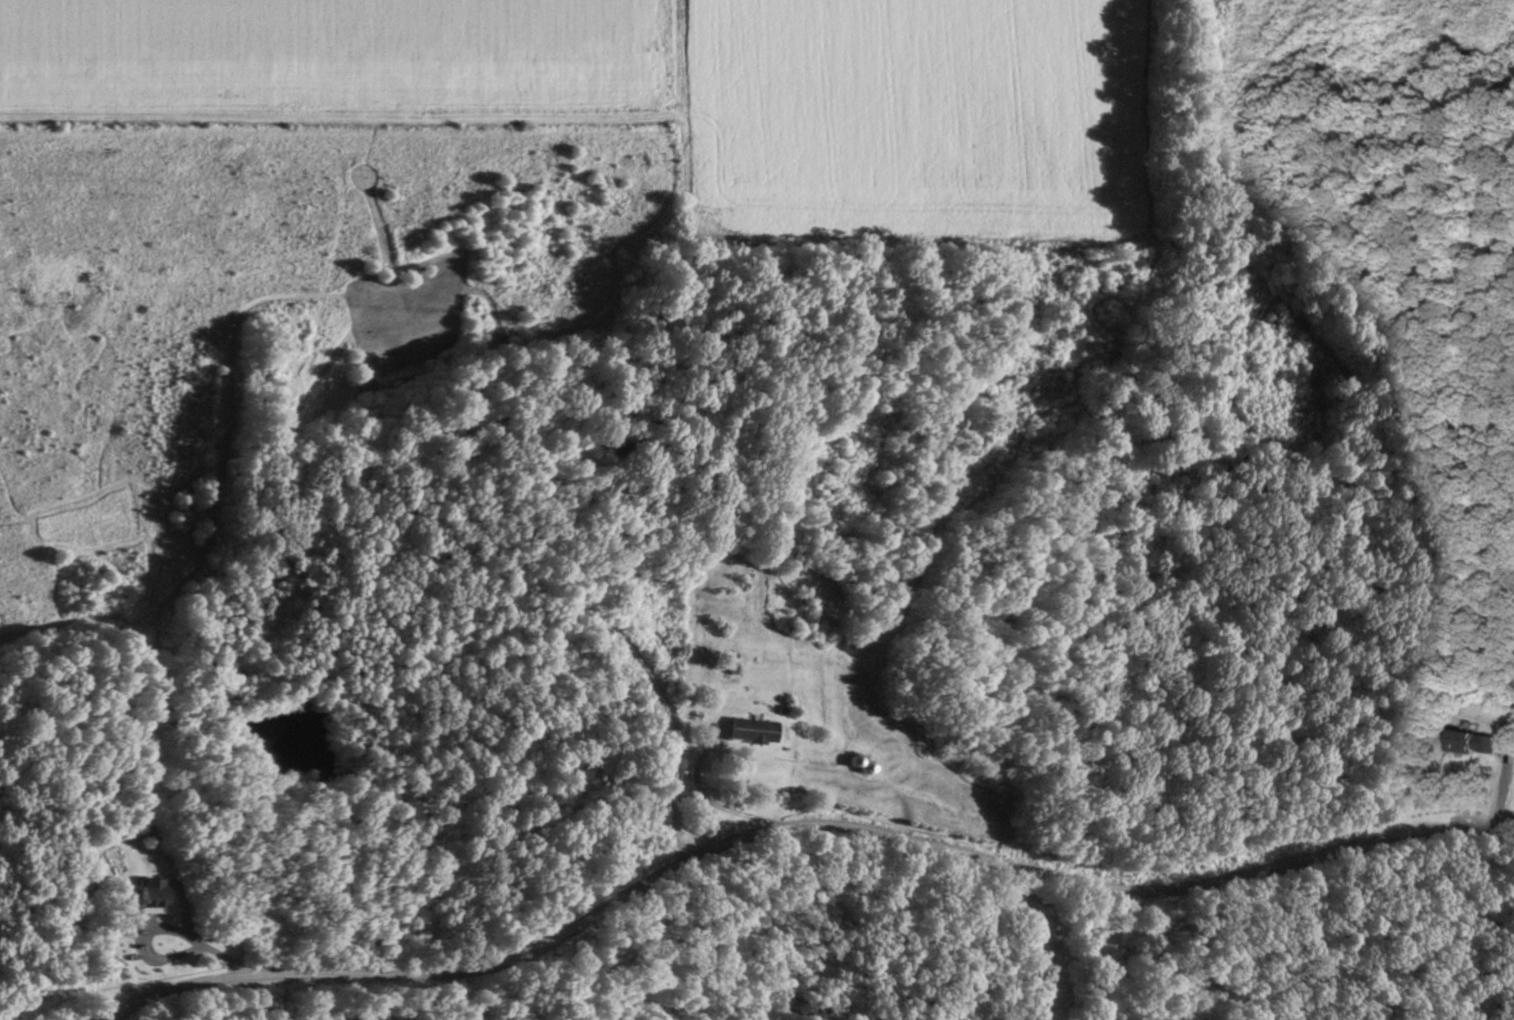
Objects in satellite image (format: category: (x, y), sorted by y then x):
building: (752, 730)
building: (1469, 741)
road: (796, 818)
building: (151, 895)
road: (67, 982)

